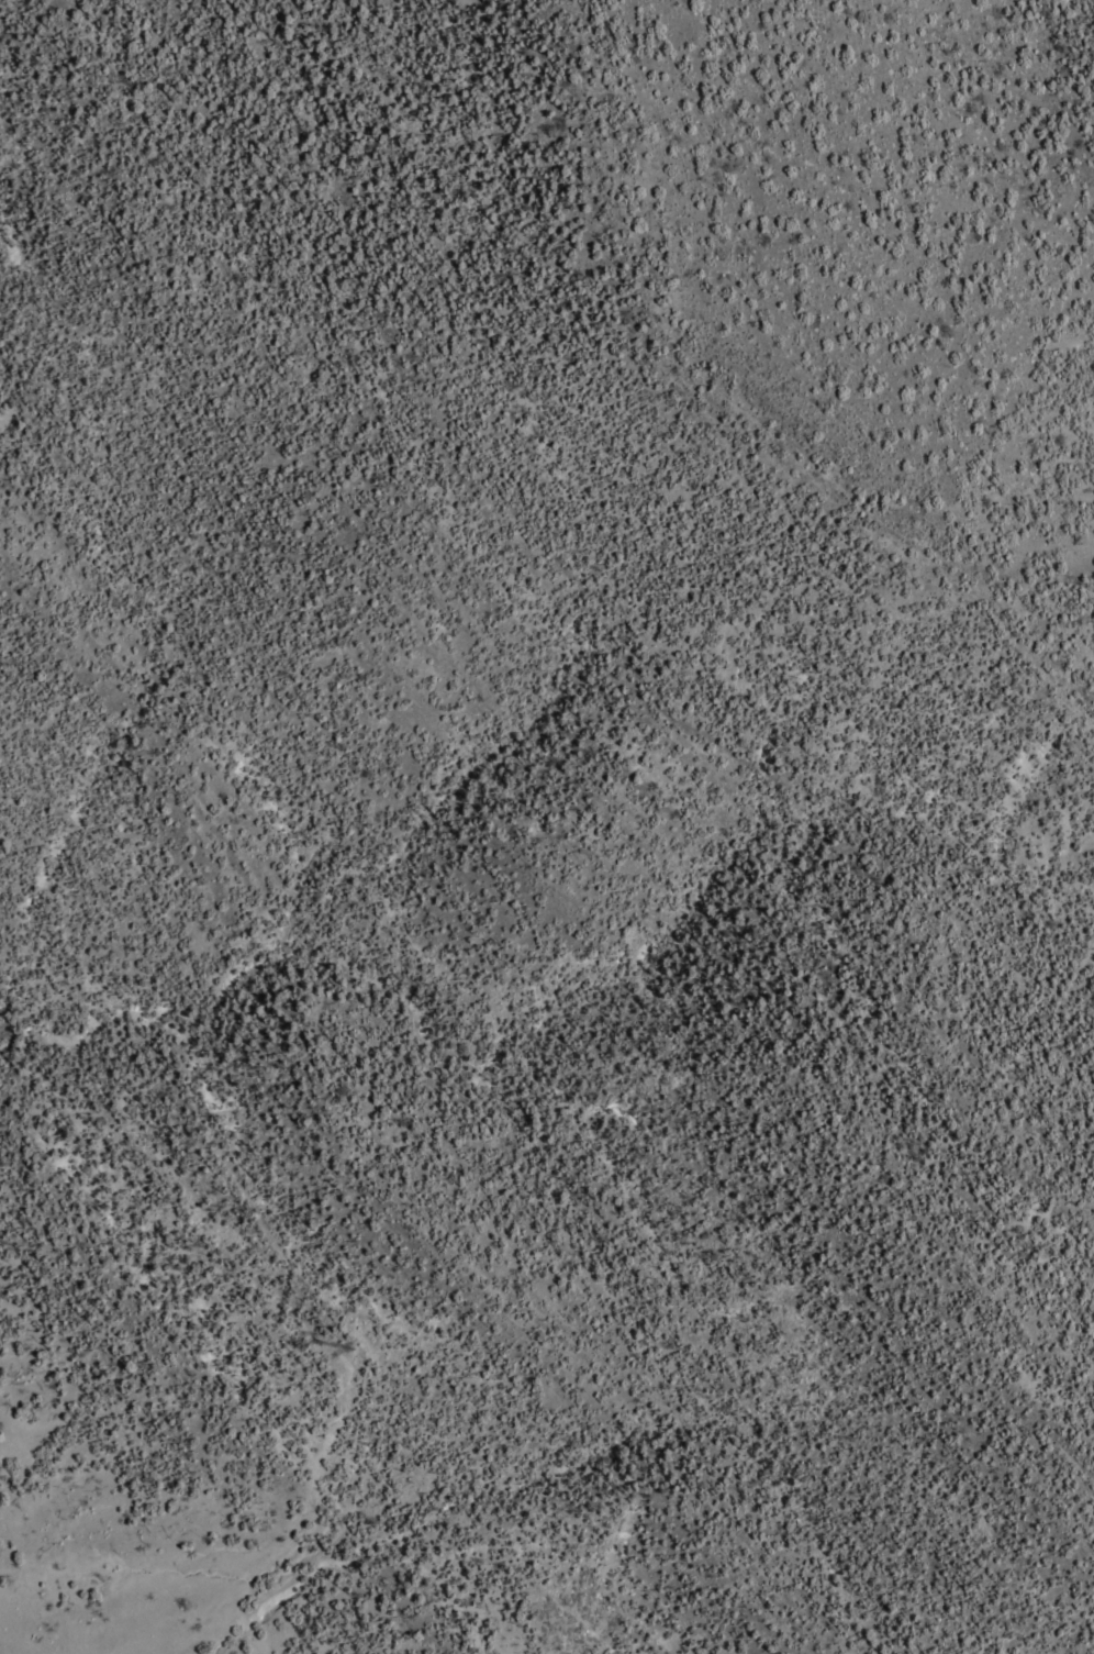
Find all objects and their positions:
power tower: (354, 1348)

